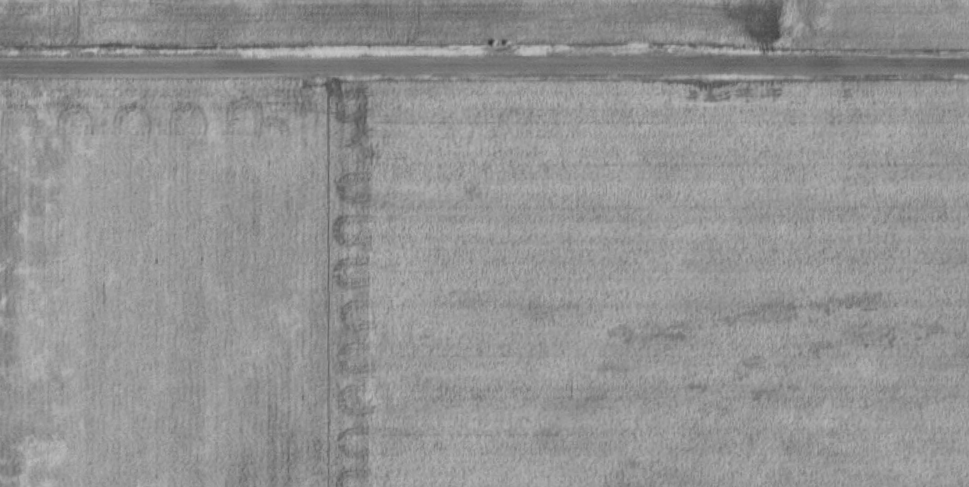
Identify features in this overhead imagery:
road: (484, 65)

